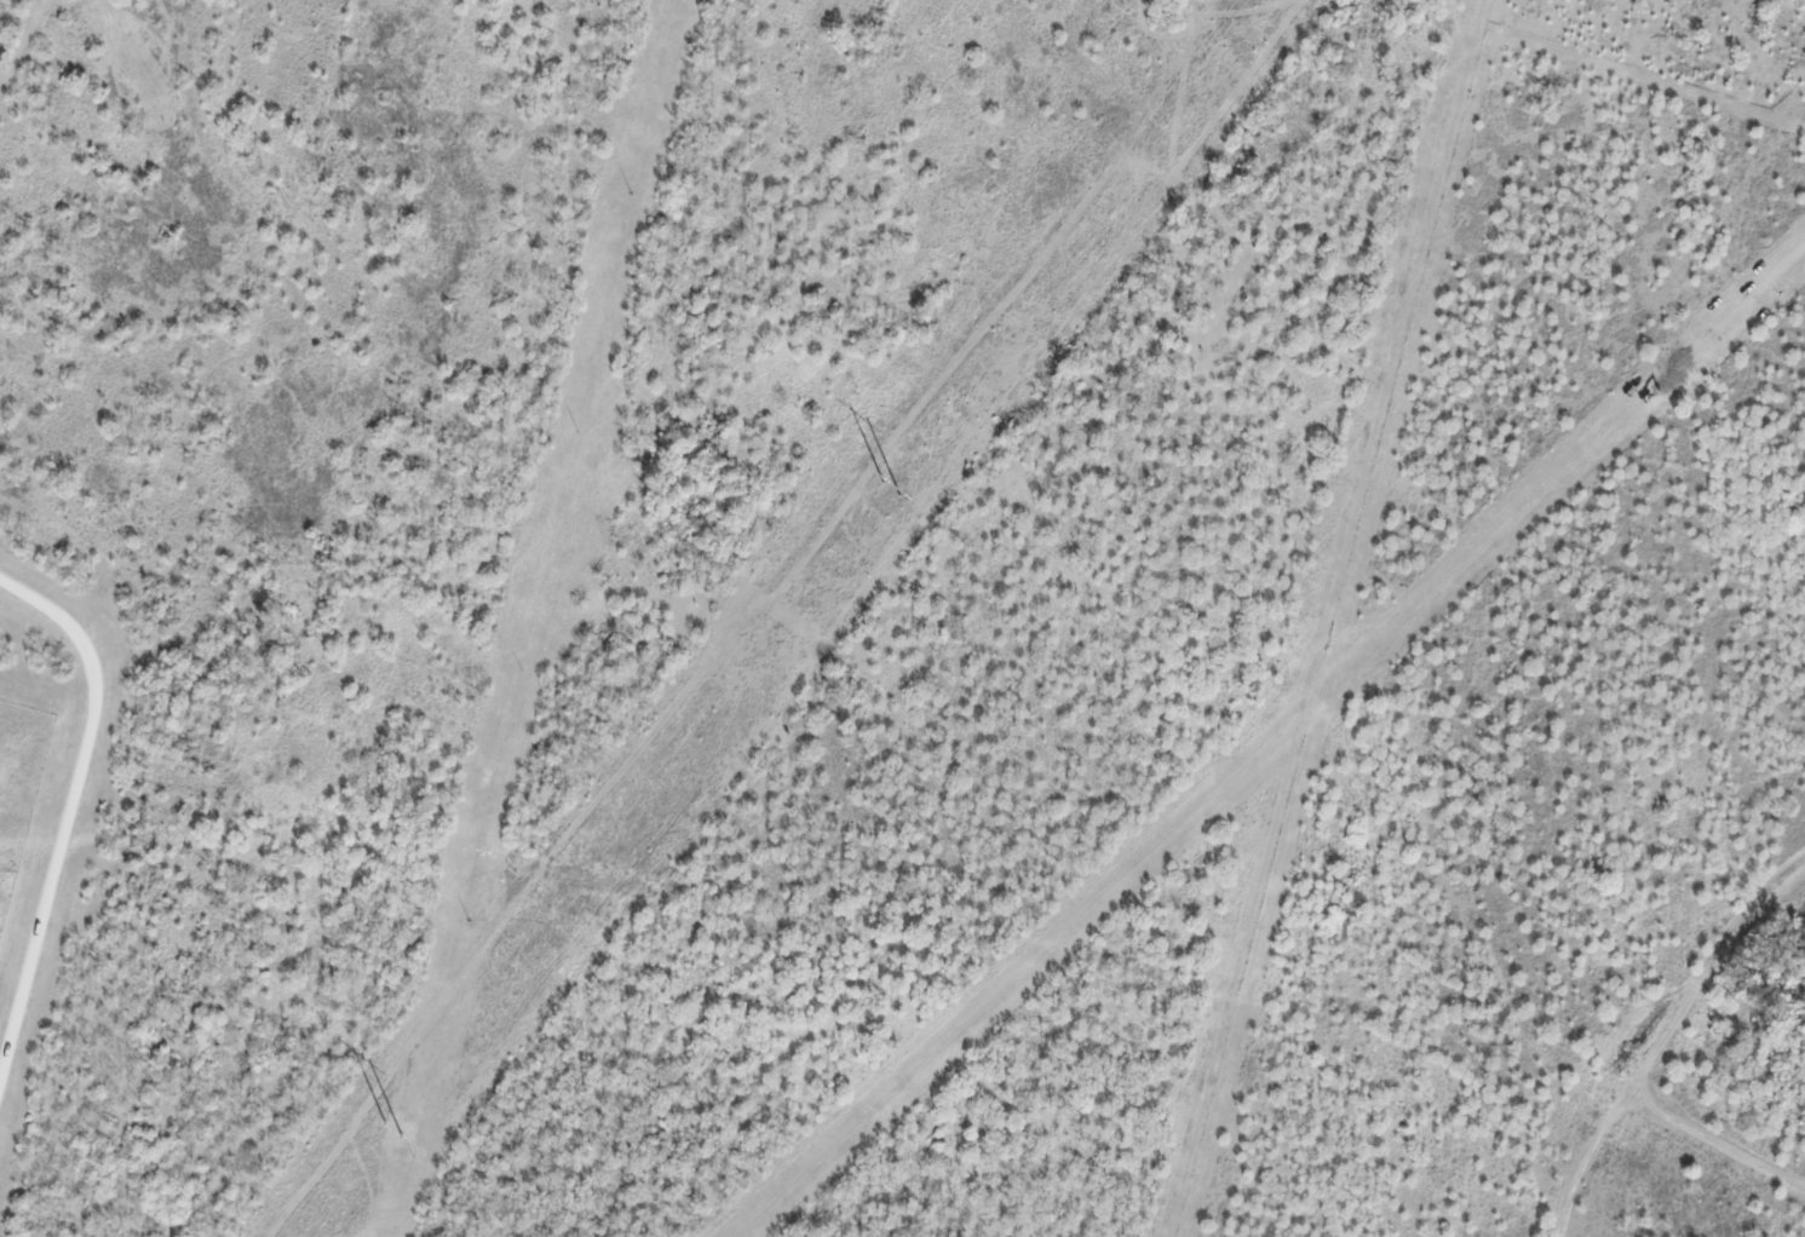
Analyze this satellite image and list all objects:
power tower: (902, 482)
power tower: (404, 1124)

